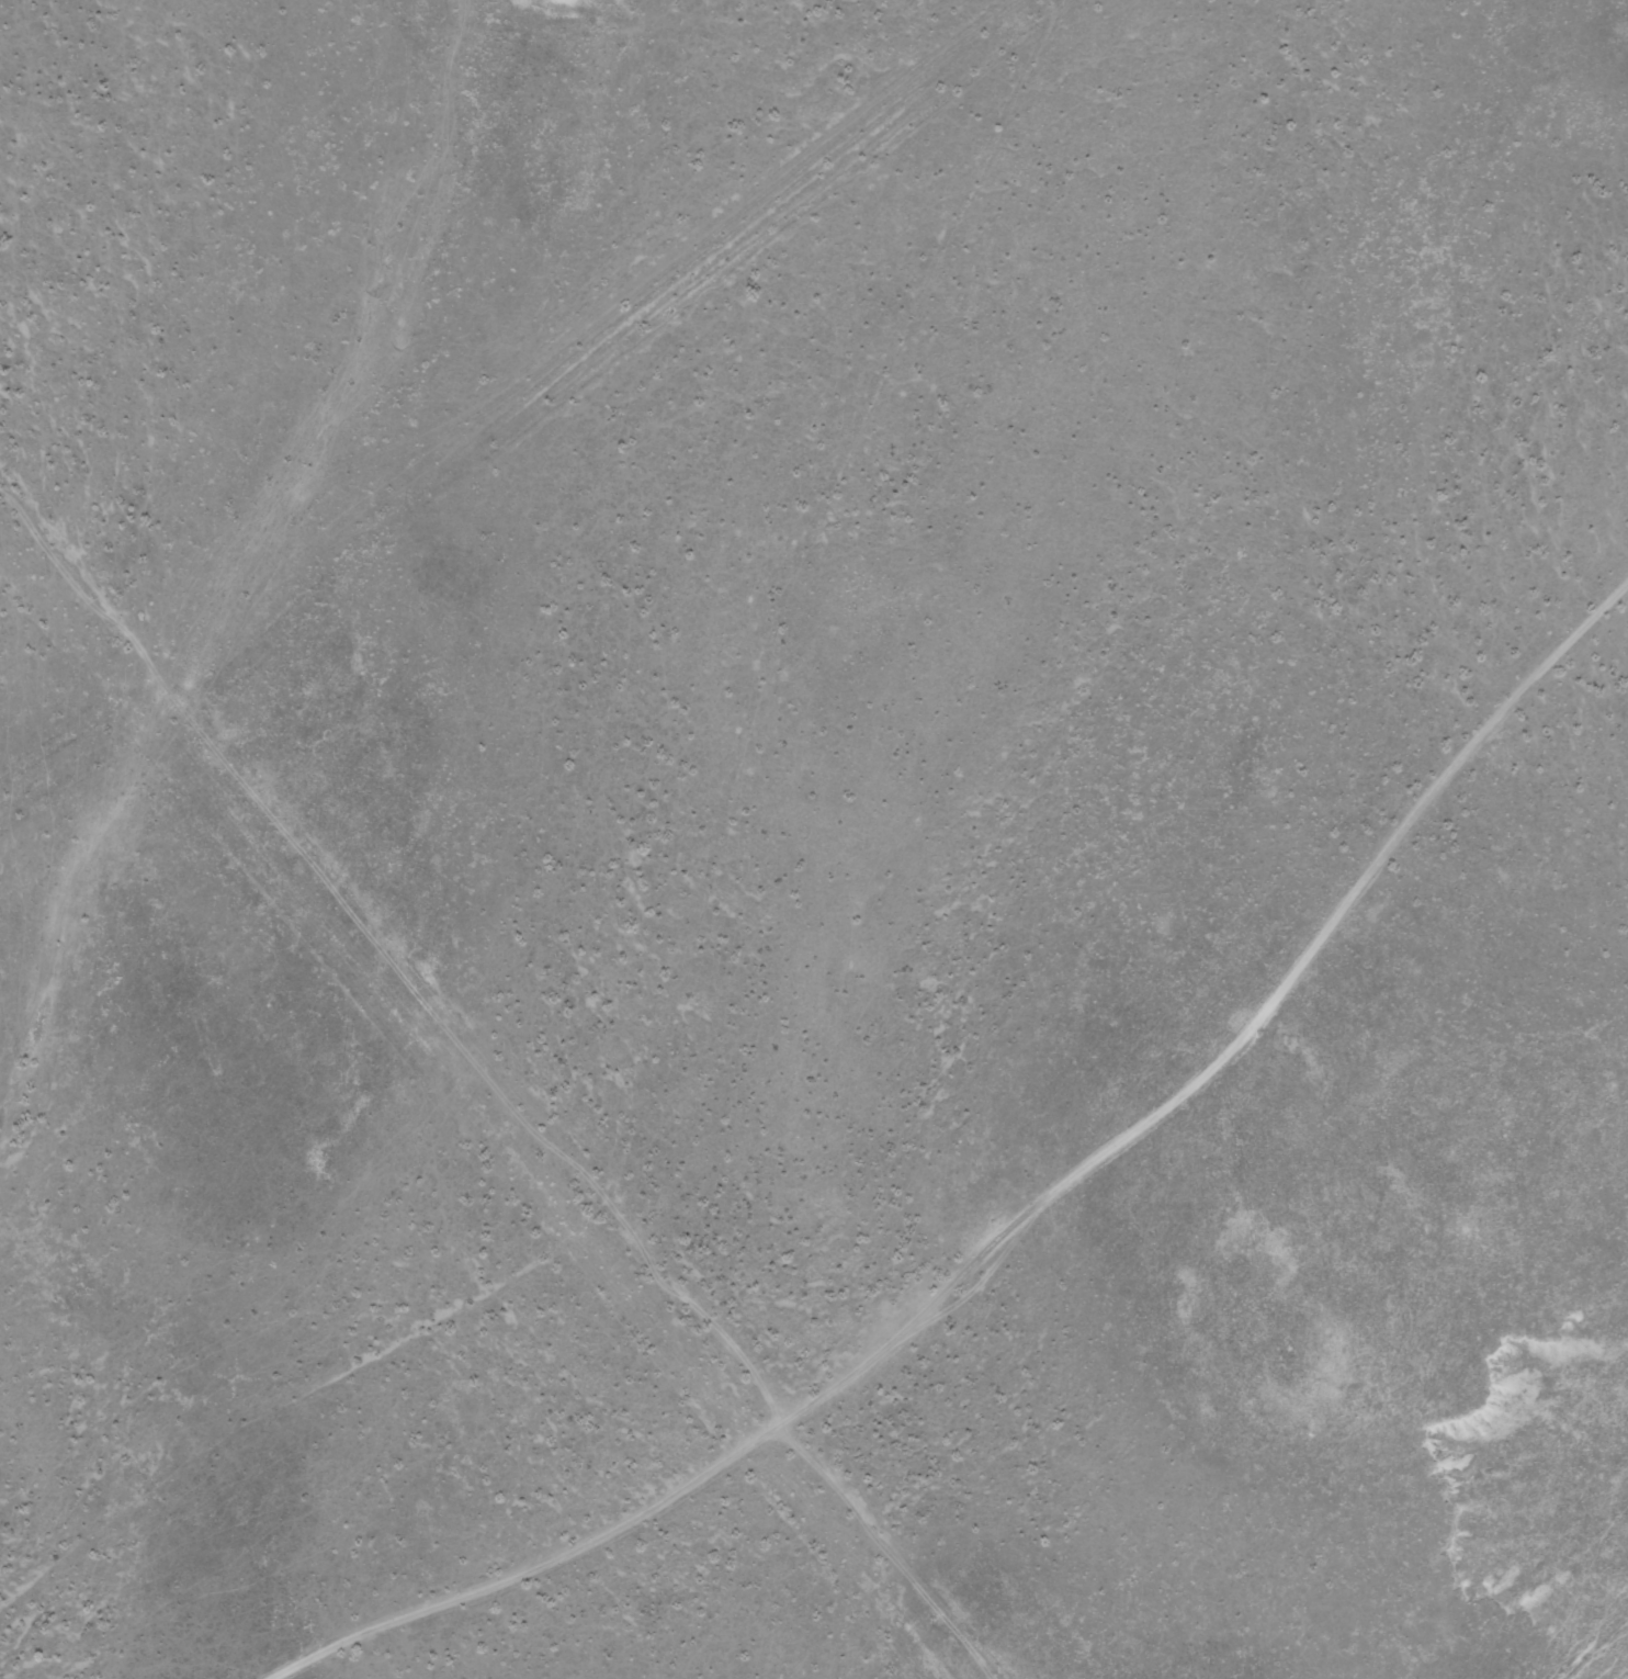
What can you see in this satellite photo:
road: (440, 291)

